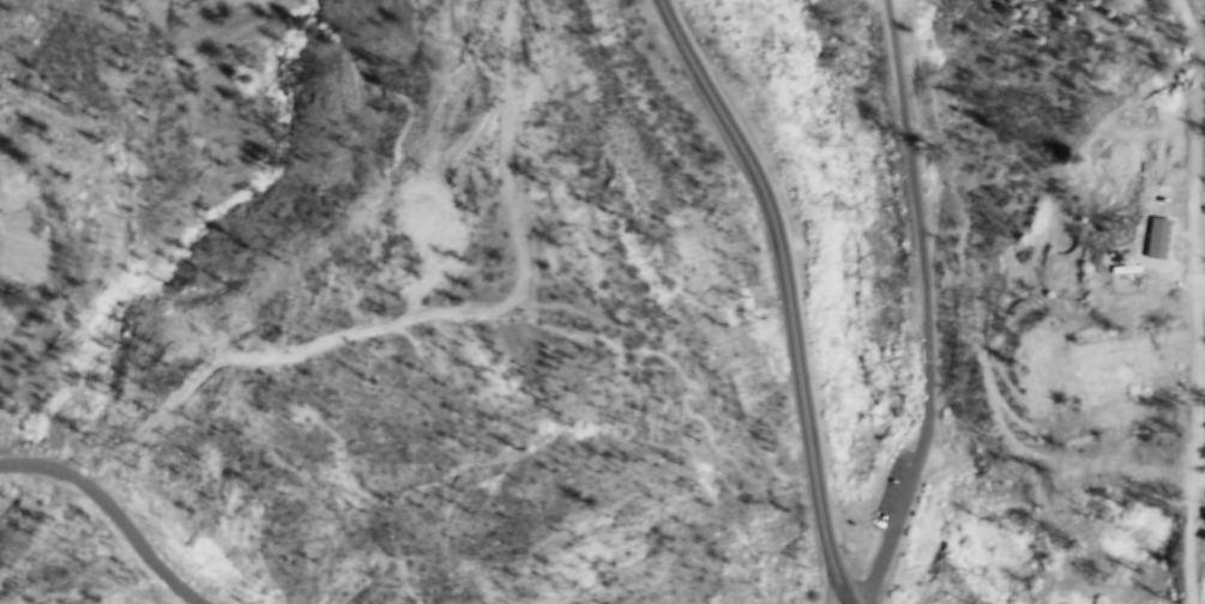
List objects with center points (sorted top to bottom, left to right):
road: (917, 218)
road: (1194, 291)
road: (787, 292)
road: (1183, 298)
parking lot: (909, 478)
road: (118, 512)
road: (892, 524)

